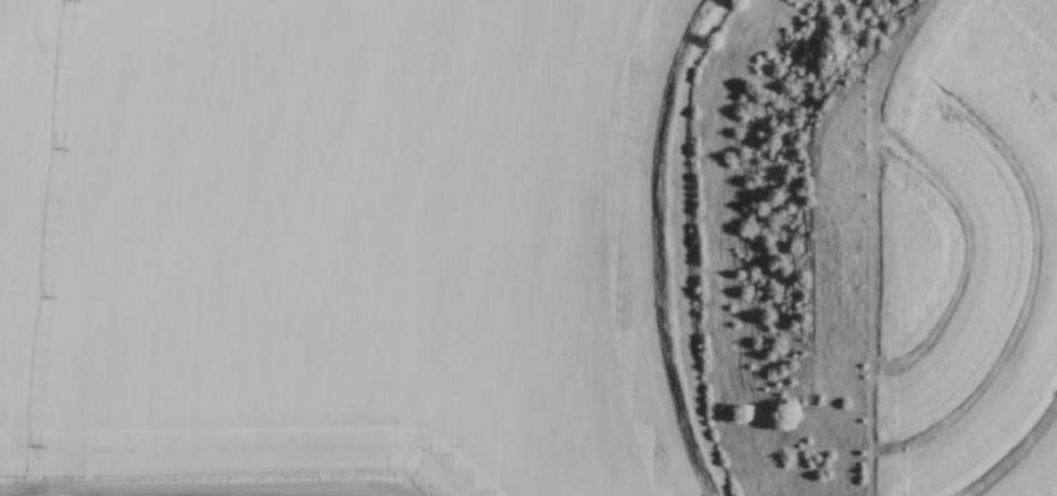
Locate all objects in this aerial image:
road: (249, 495)

